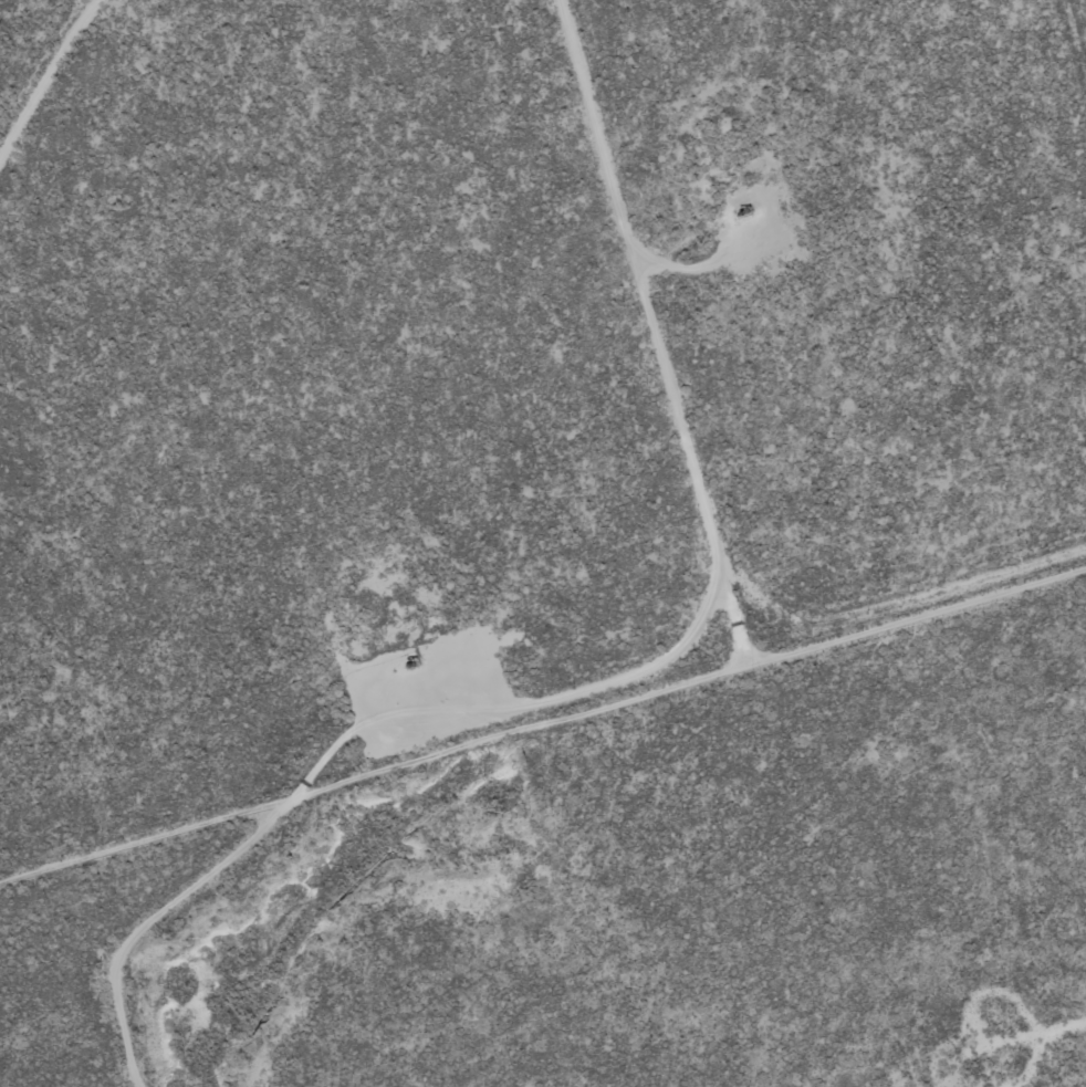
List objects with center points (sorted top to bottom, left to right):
road: (50, 85)
road: (713, 317)
road: (543, 712)

